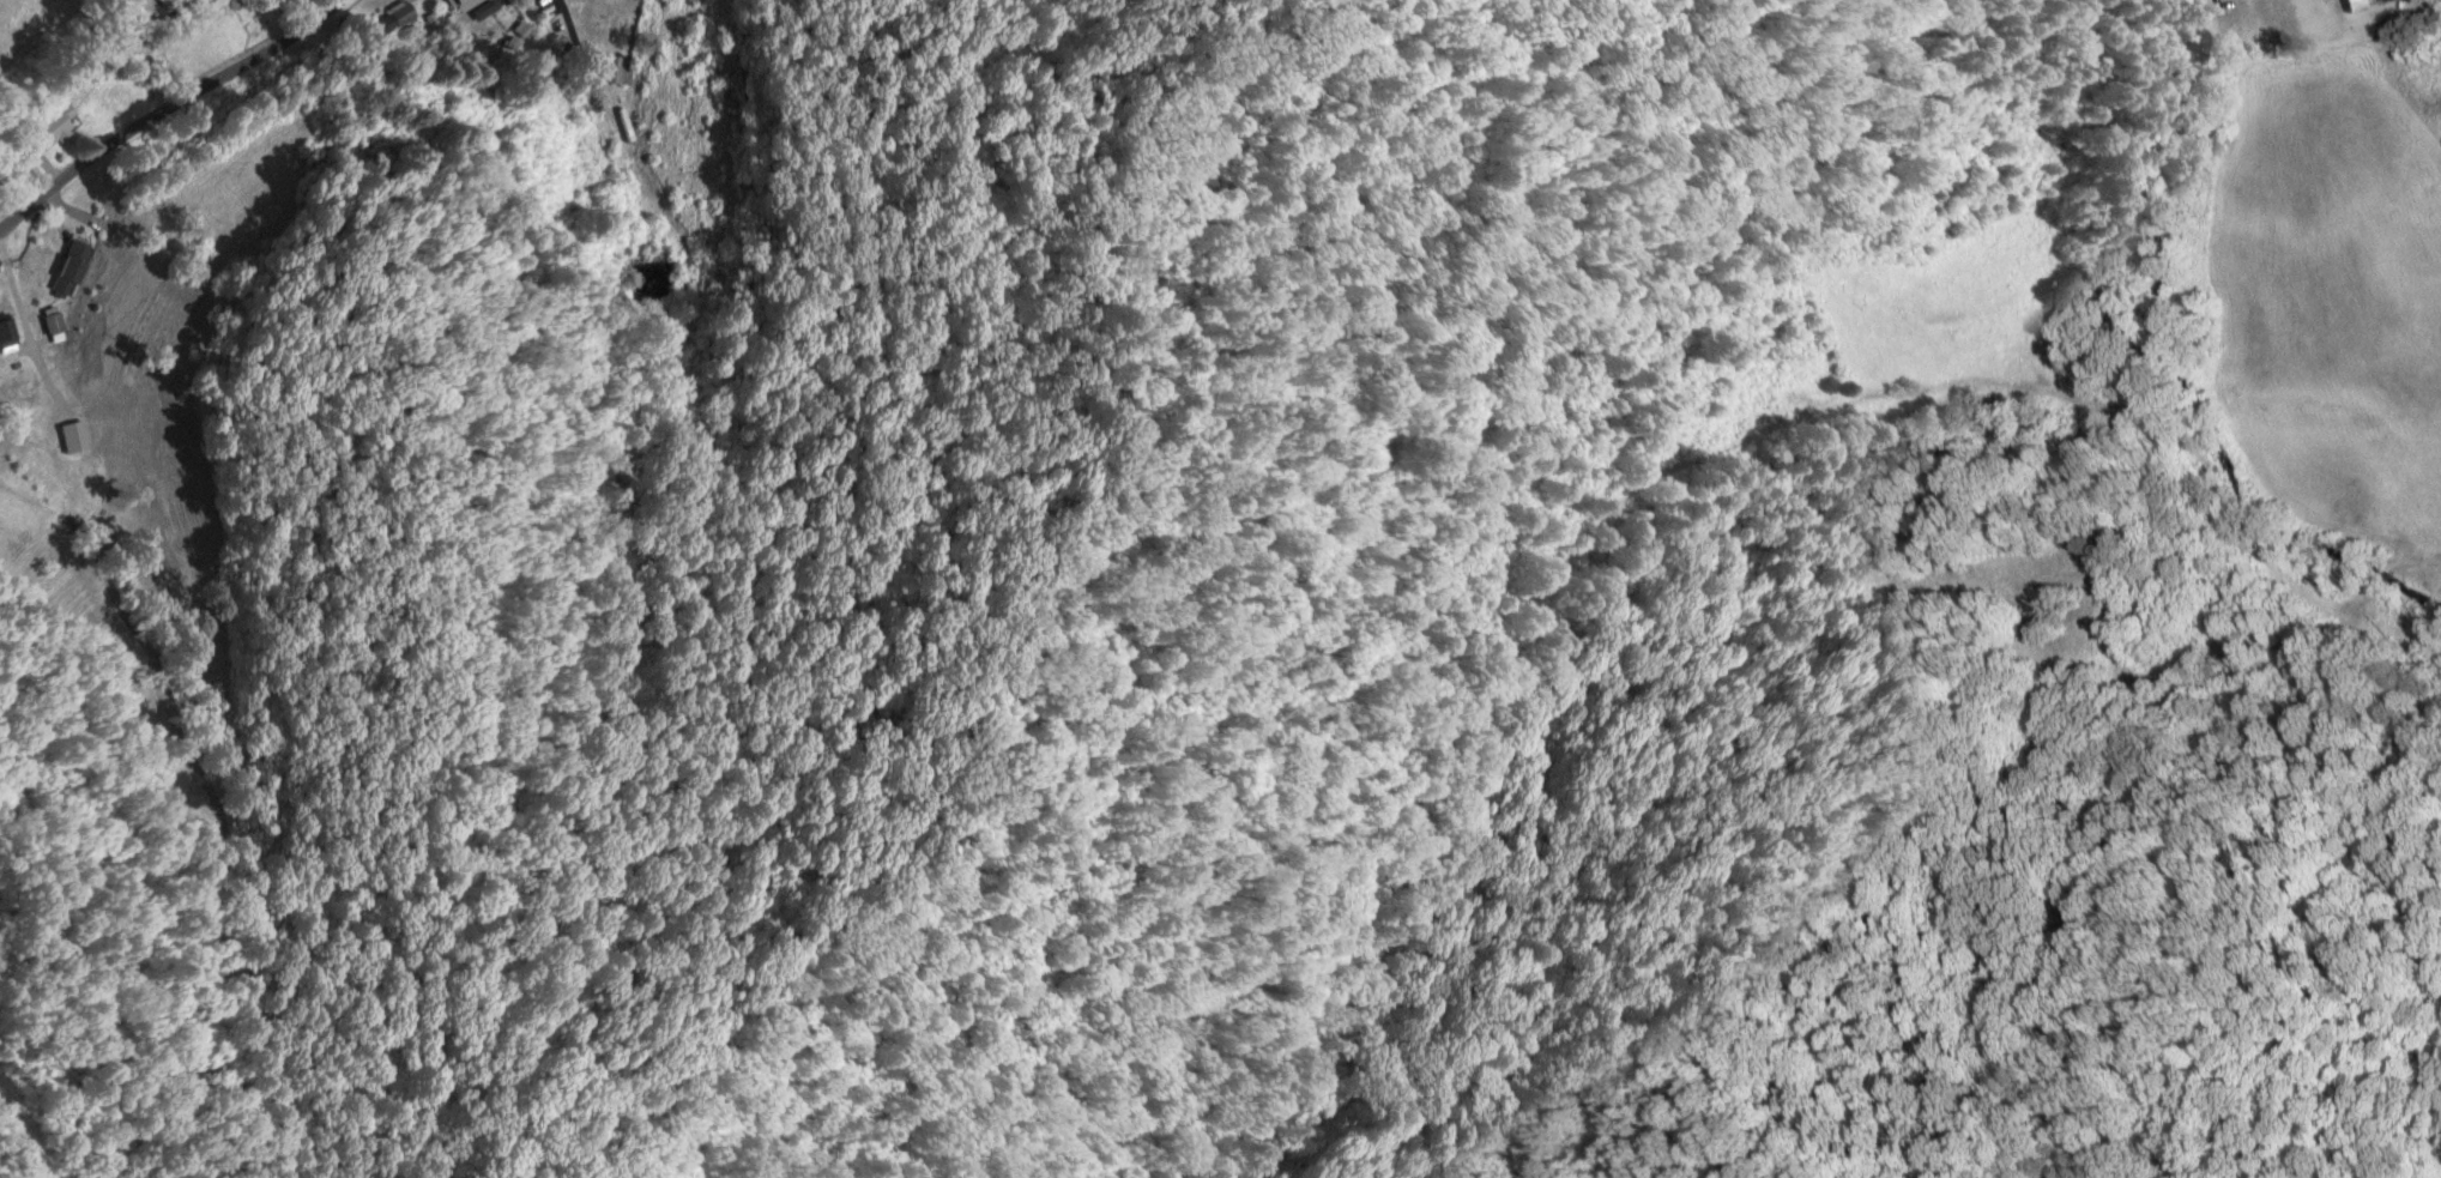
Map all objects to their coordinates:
building: (294, 0)
building: (2392, 0)
building: (464, 5)
building: (399, 16)
building: (618, 70)
road: (167, 107)
building: (50, 128)
building: (72, 270)
building: (54, 322)
building: (8, 336)
building: (77, 437)

